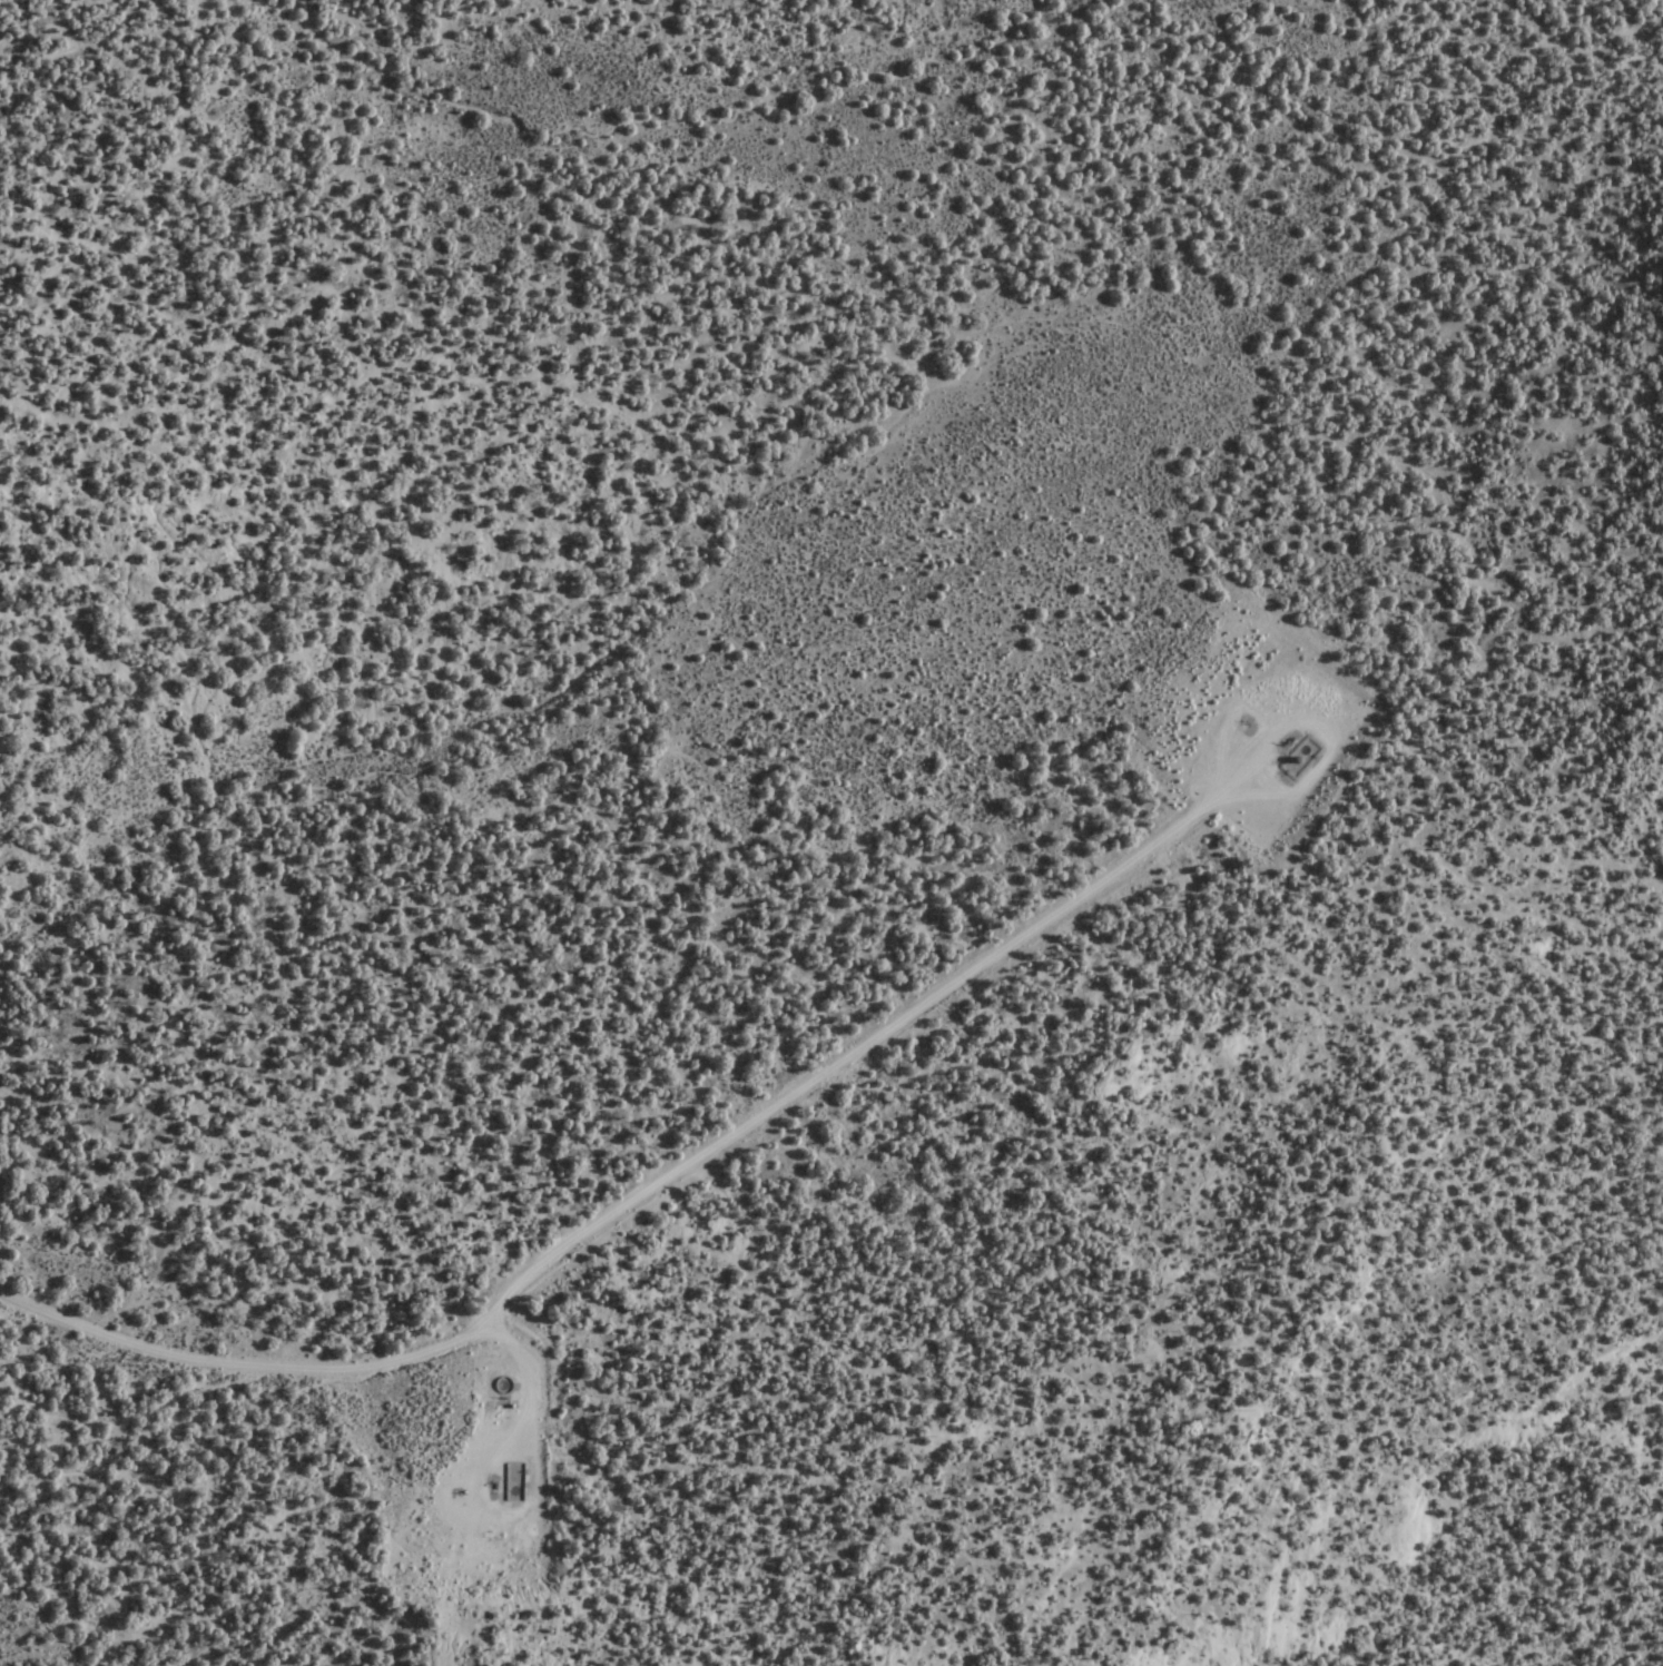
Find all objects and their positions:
road: (219, 1361)

